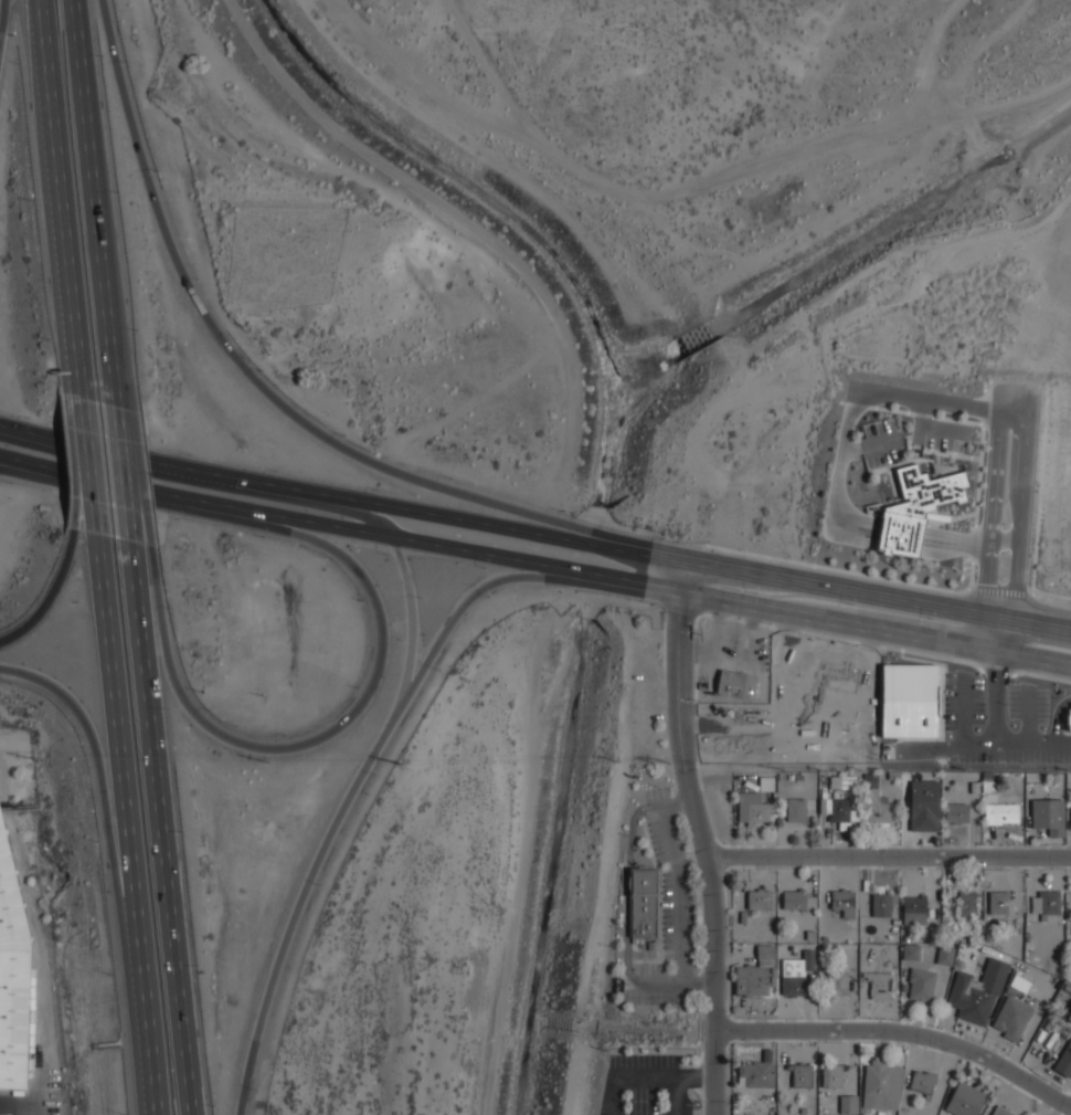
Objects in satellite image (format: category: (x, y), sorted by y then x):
road: (6, 33)
road: (62, 200)
road: (97, 203)
road: (454, 212)
park: (283, 255)
road: (241, 356)
road: (1015, 397)
road: (923, 408)
road: (941, 425)
road: (92, 431)
parking lot: (942, 432)
road: (34, 436)
parking lot: (881, 441)
road: (882, 442)
road: (855, 450)
road: (844, 457)
road: (11, 460)
road: (11, 464)
road: (131, 472)
road: (198, 473)
road: (87, 495)
road: (98, 498)
building: (916, 507)
road: (145, 513)
road: (296, 517)
road: (452, 517)
road: (993, 526)
road: (1019, 530)
road: (600, 543)
road: (594, 577)
road: (410, 589)
road: (847, 589)
road: (54, 595)
road: (753, 617)
road: (453, 622)
road: (844, 623)
road: (747, 644)
parking lot: (734, 646)
road: (793, 651)
road: (712, 656)
building: (836, 676)
building: (736, 683)
road: (871, 688)
road: (152, 693)
building: (910, 701)
building: (837, 711)
road: (780, 712)
road: (347, 716)
building: (1070, 719)
road: (690, 723)
parking lot: (731, 723)
road: (732, 723)
road: (996, 734)
building: (893, 775)
building: (987, 776)
building: (1069, 776)
building: (791, 777)
building: (798, 777)
building: (965, 779)
building: (870, 780)
building: (842, 782)
building: (766, 783)
building: (987, 786)
building: (974, 787)
road: (127, 791)
road: (682, 800)
road: (662, 806)
building: (825, 806)
building: (924, 806)
building: (751, 808)
building: (955, 808)
building: (796, 809)
building: (877, 810)
building: (1000, 812)
building: (842, 813)
building: (1048, 816)
building: (773, 817)
road: (113, 824)
road: (702, 835)
road: (890, 856)
road: (625, 893)
road: (678, 895)
building: (759, 897)
building: (794, 897)
building: (646, 901)
building: (844, 901)
building: (999, 901)
building: (1046, 901)
building: (883, 903)
building: (968, 904)
building: (914, 908)
road: (299, 911)
parking lot: (667, 914)
building: (911, 950)
building: (945, 955)
building: (796, 974)
building: (755, 975)
building: (12, 976)
road: (182, 980)
building: (838, 982)
building: (921, 983)
building: (1019, 983)
building: (881, 985)
road: (657, 986)
road: (697, 988)
building: (978, 991)
building: (1069, 1014)
building: (1012, 1017)
road: (901, 1033)
building: (766, 1054)
building: (1064, 1060)
building: (755, 1074)
building: (800, 1074)
road: (694, 1075)
building: (831, 1075)
road: (646, 1076)
building: (922, 1082)
road: (153, 1083)
building: (881, 1085)
parking lot: (645, 1086)
building: (766, 1093)
road: (613, 1095)
road: (676, 1095)
building: (965, 1100)
building: (848, 1104)
road: (701, 1109)
building: (803, 1111)
building: (1000, 1111)
building: (772, 1113)

